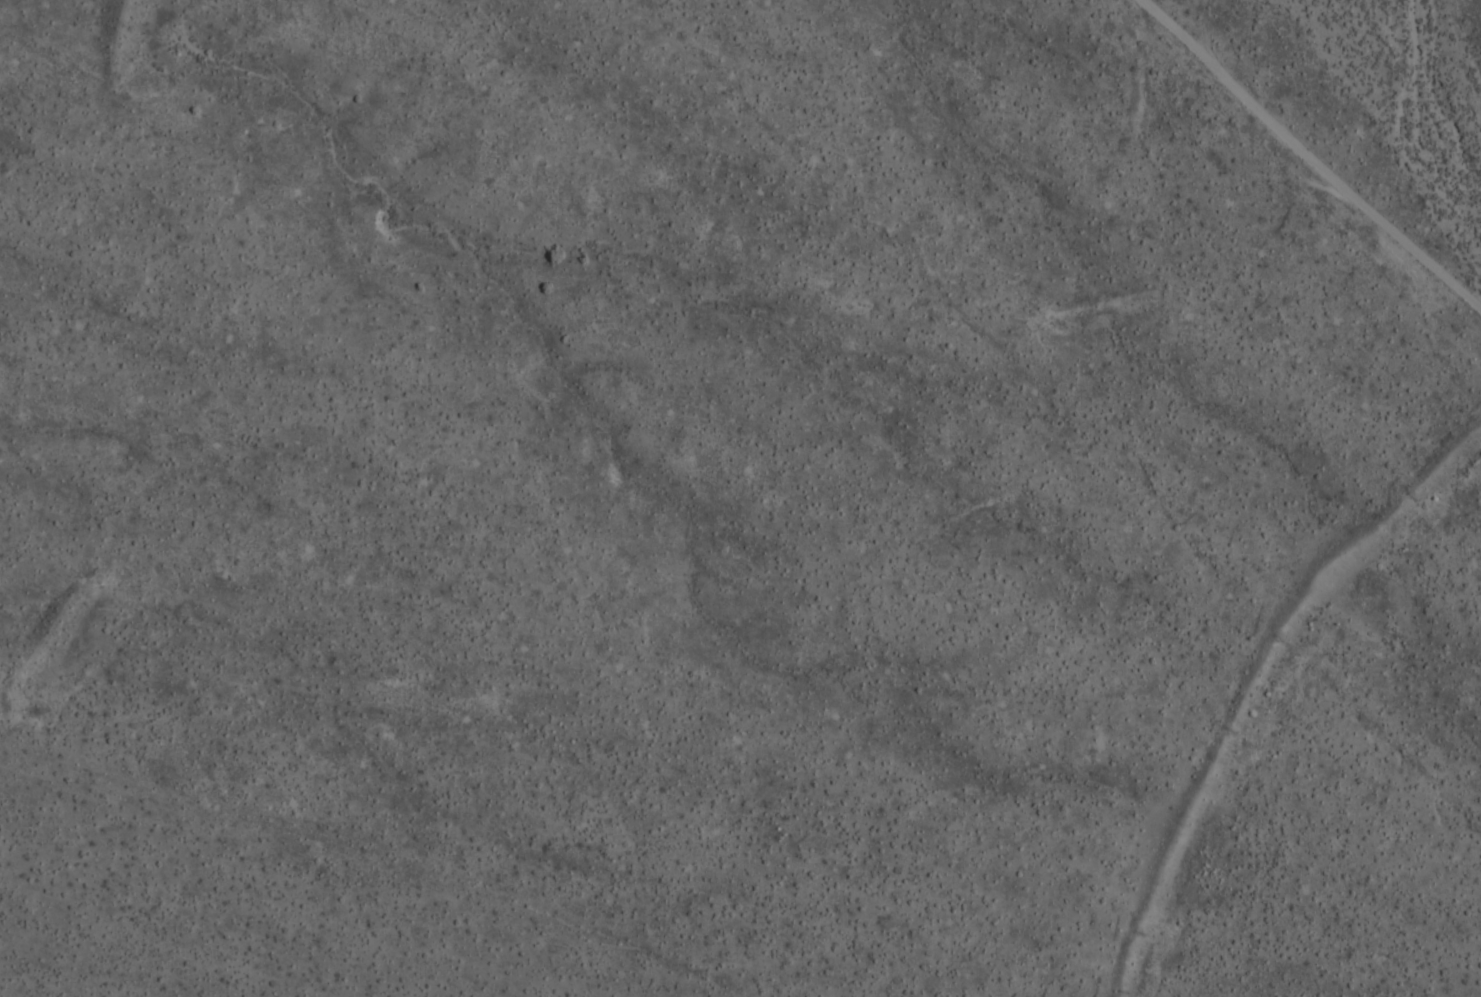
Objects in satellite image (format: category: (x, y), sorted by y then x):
road: (1312, 162)

